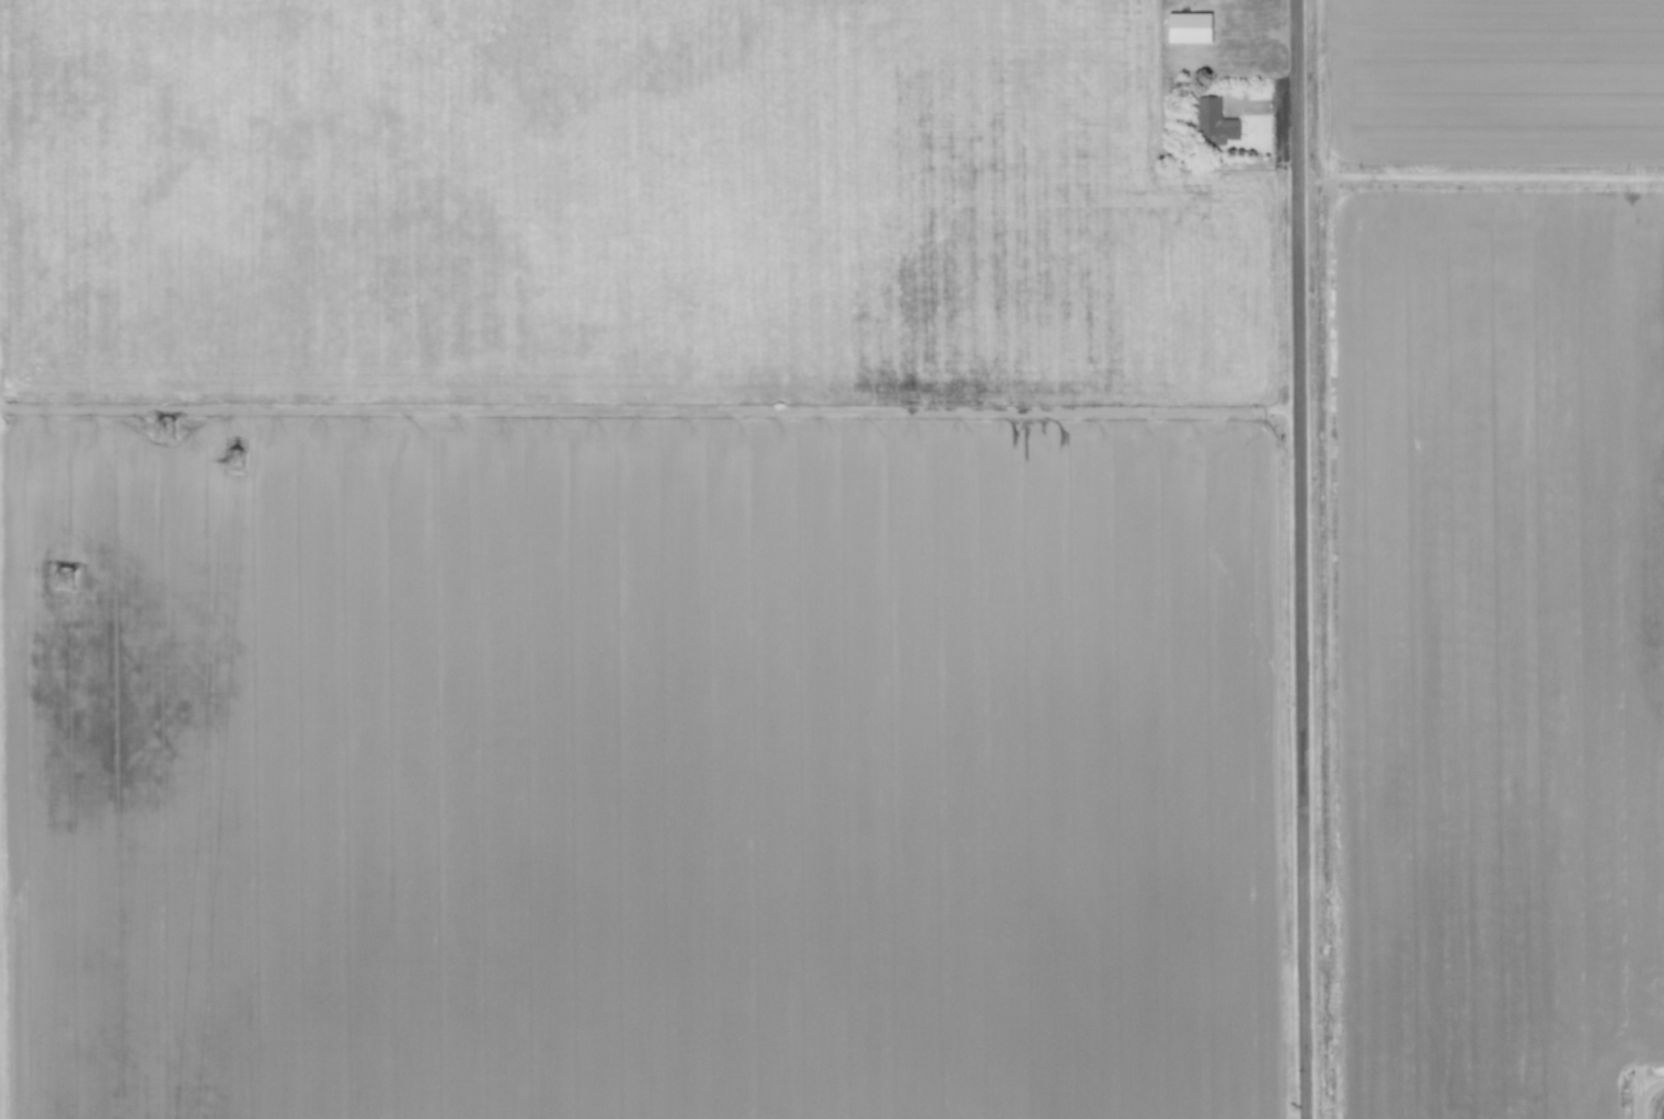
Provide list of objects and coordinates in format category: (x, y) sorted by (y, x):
building: (1189, 26)
building: (1214, 120)
power tower: (156, 423)
power tower: (236, 468)
road: (1300, 559)
power tower: (67, 591)

